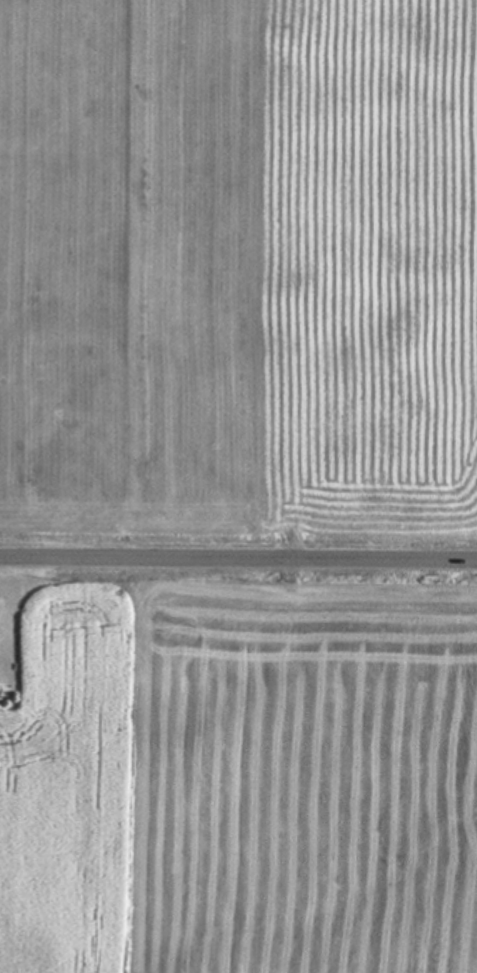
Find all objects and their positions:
road: (238, 559)

